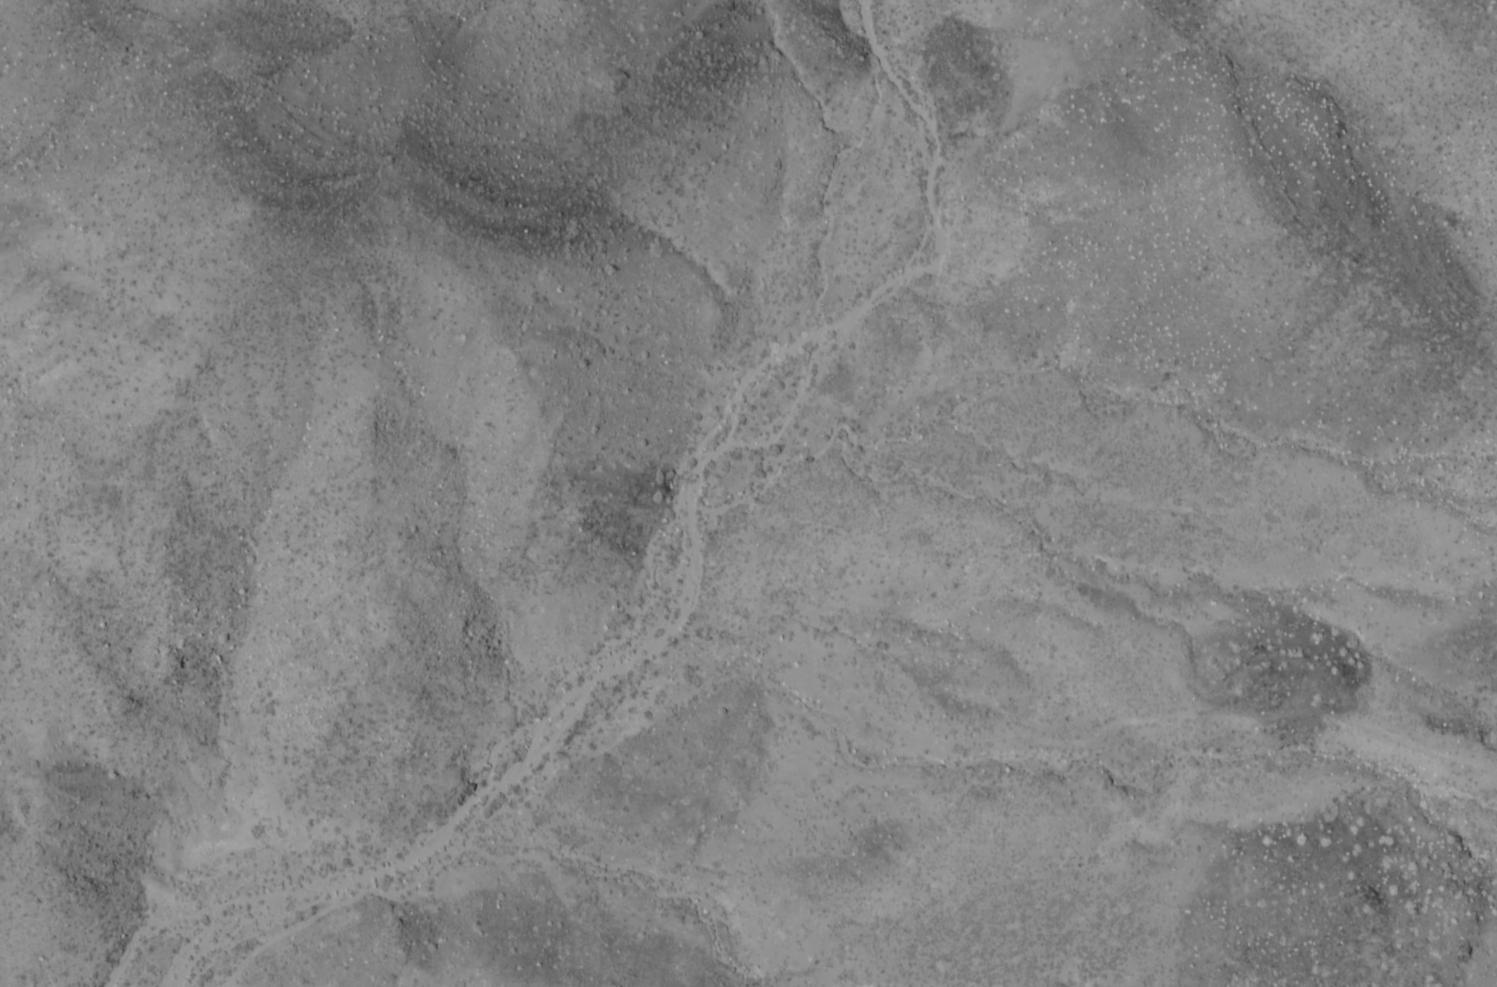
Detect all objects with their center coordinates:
road: (1077, 745)
road: (464, 814)

